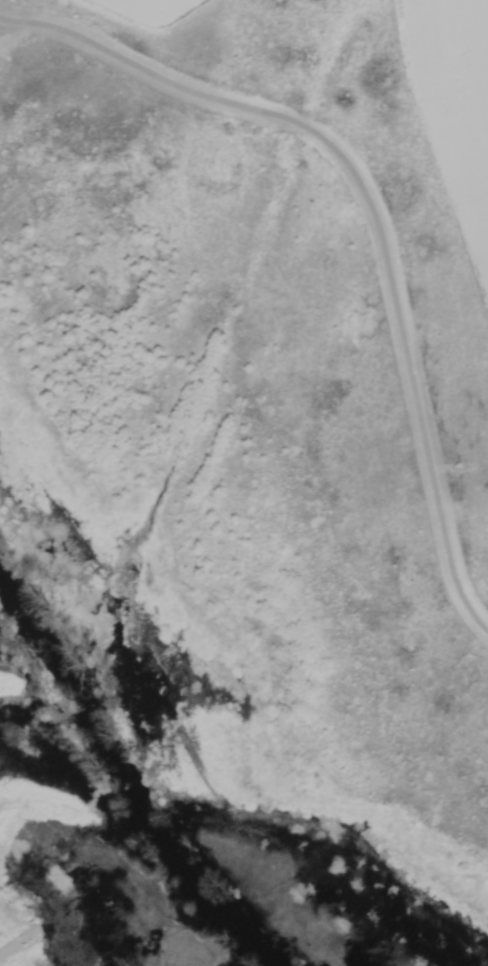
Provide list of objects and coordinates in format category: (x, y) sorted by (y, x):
road: (372, 212)
park: (236, 500)
road: (18, 941)

